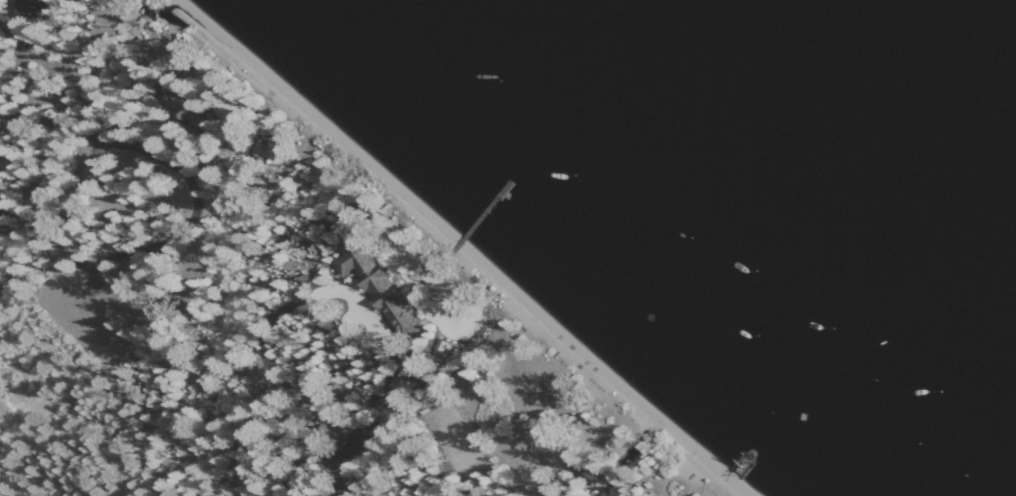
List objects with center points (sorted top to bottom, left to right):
building: (34, 7)
road: (9, 47)
road: (198, 197)
pier: (484, 212)
building: (380, 288)
road: (276, 378)
road: (367, 433)
building: (575, 464)
road: (545, 467)

